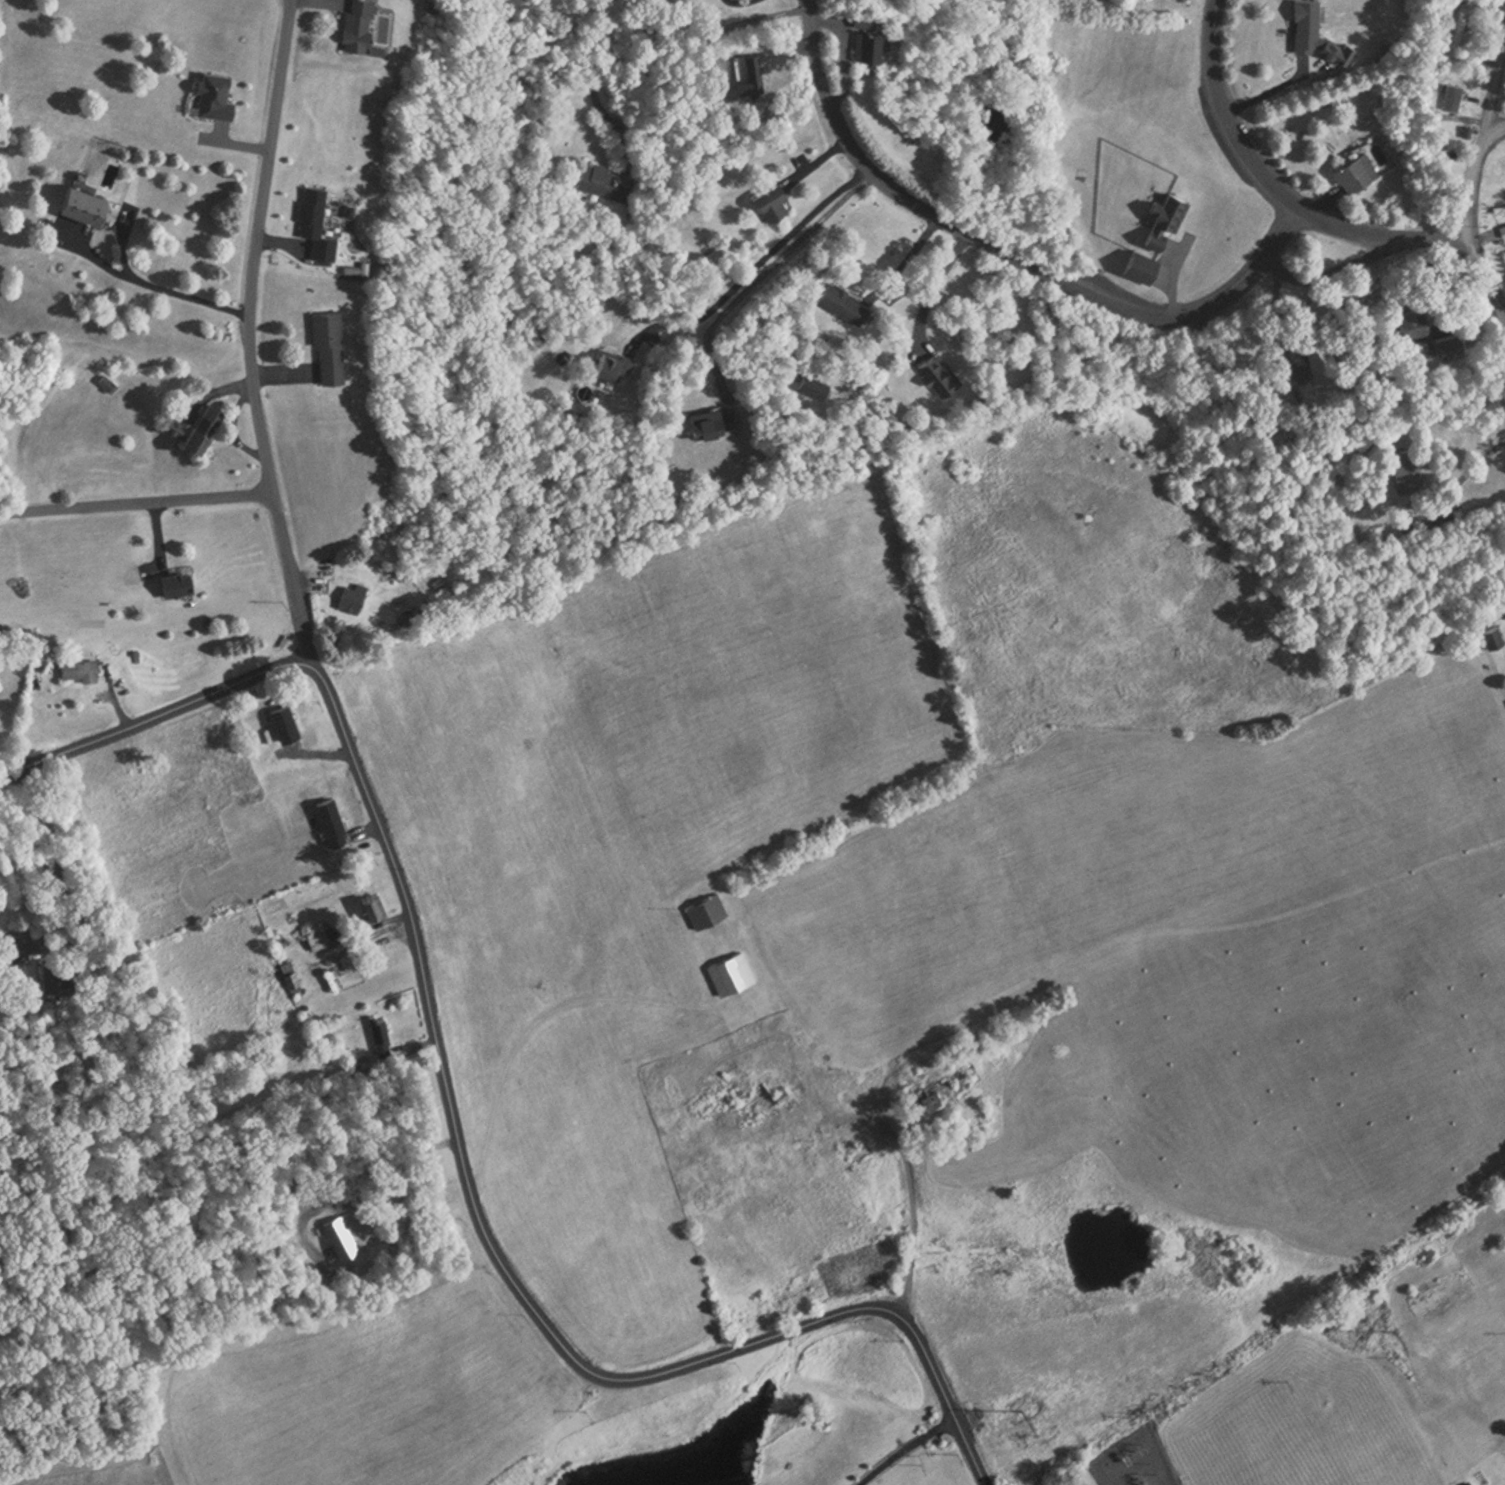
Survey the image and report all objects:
road: (657, 39)
road: (1280, 89)
road: (1496, 95)
road: (1496, 134)
road: (1472, 184)
road: (1277, 190)
road: (1009, 250)
road: (768, 253)
road: (905, 253)
road: (1489, 271)
road: (761, 274)
road: (939, 276)
road: (149, 284)
road: (253, 329)
road: (1468, 469)
road: (135, 501)
road: (56, 852)
road: (448, 1114)
road: (912, 1212)
power tower: (1405, 1331)
power tower: (1030, 1413)
road: (905, 1449)
power substation: (1144, 1463)

